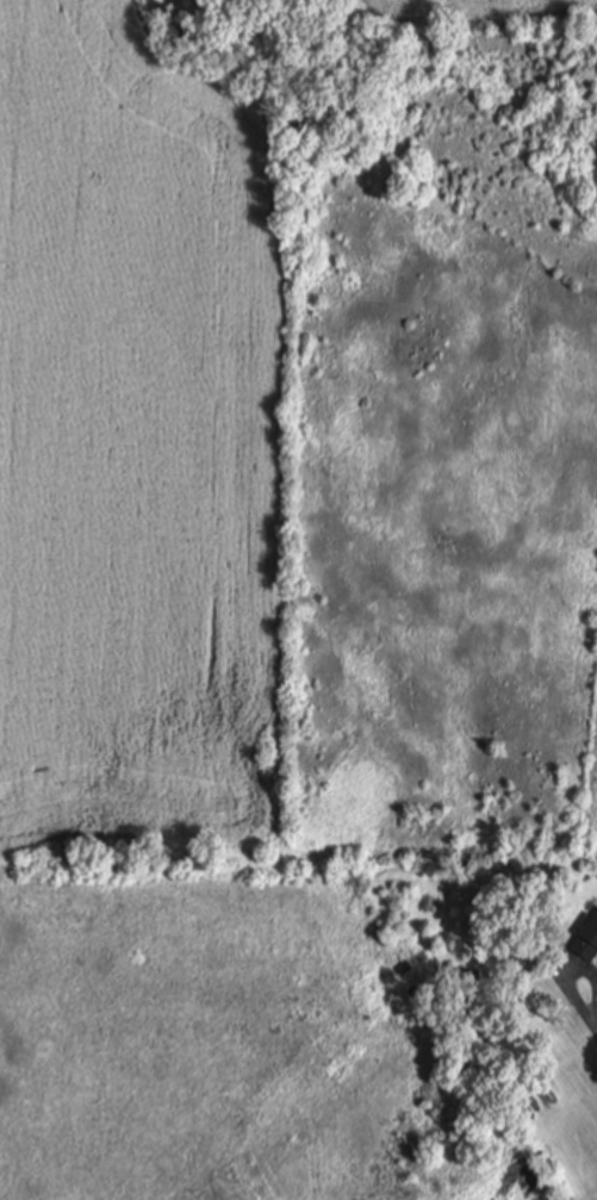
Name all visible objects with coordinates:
crop: (259, 496)
building: (587, 939)
road: (576, 971)
road: (595, 1028)

